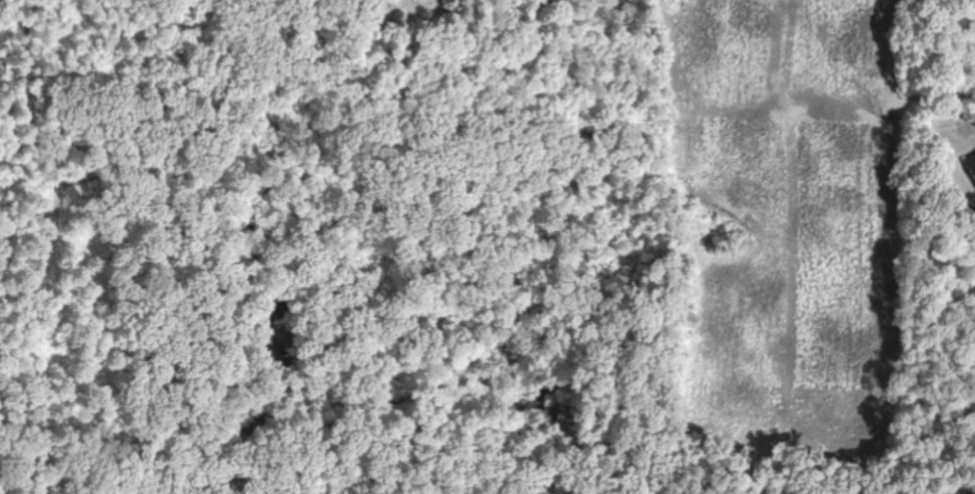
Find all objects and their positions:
building: (970, 167)

